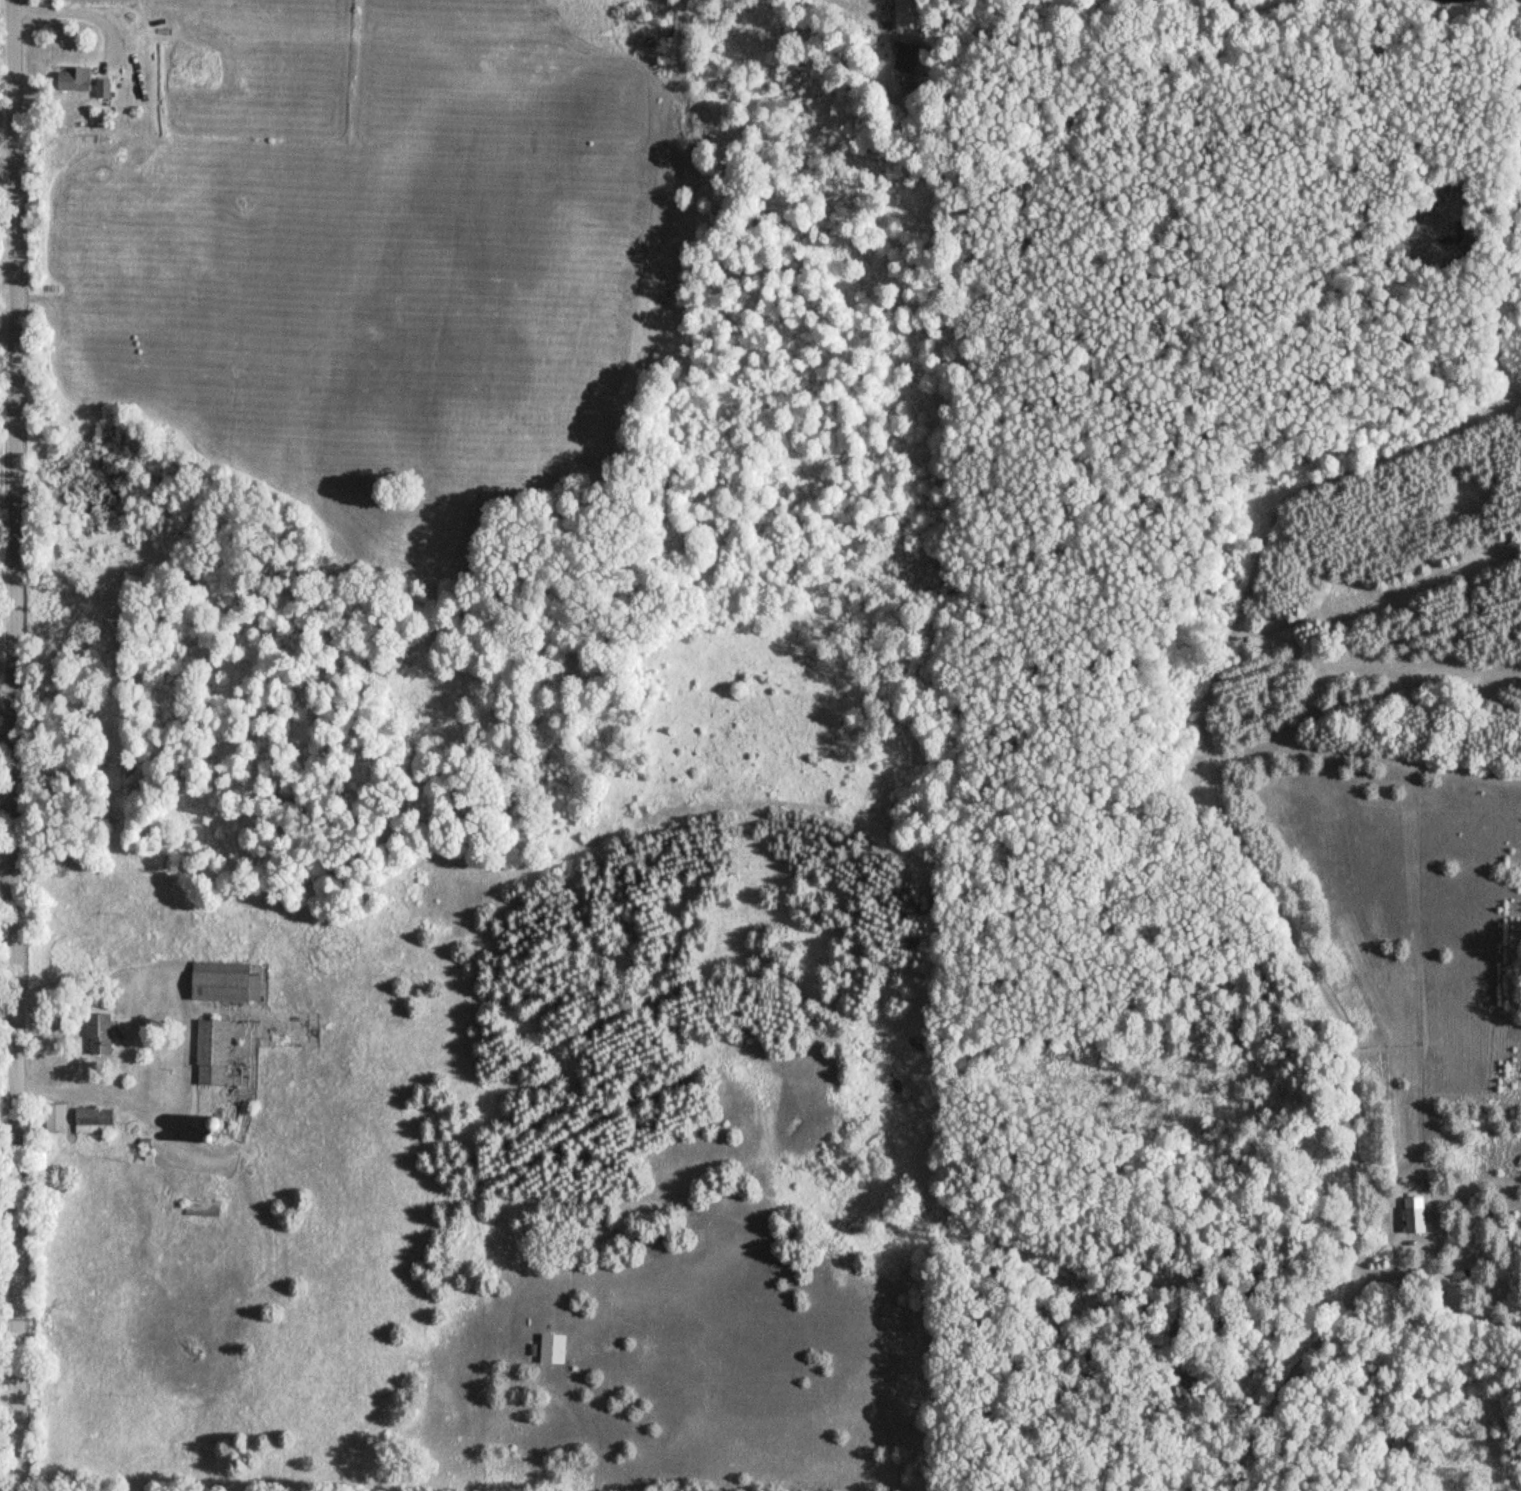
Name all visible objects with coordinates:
building: (909, 15)
building: (905, 65)
building: (78, 79)
road: (16, 745)
road: (8, 882)
building: (228, 983)
building: (101, 1032)
building: (215, 1052)
building: (60, 1118)
building: (96, 1120)
building: (1417, 1215)
building: (556, 1349)
road: (1016, 1353)

